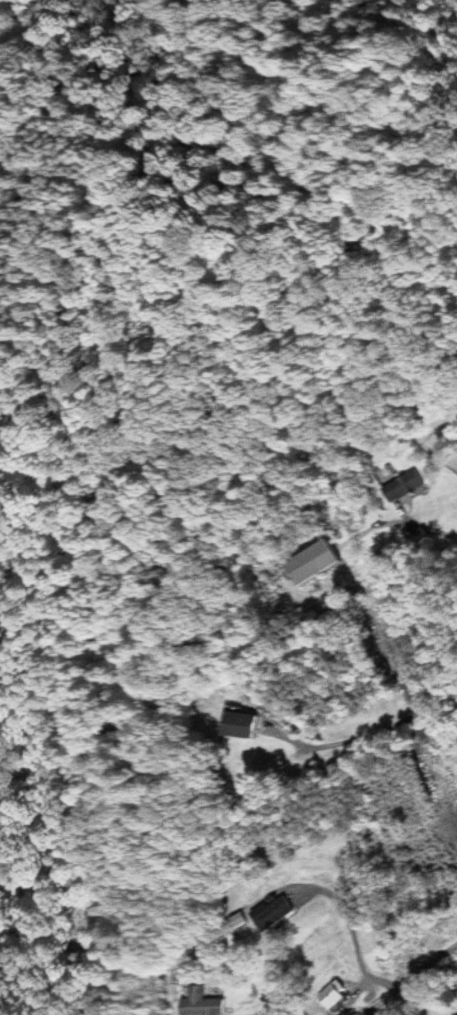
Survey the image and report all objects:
building: (406, 485)
building: (321, 562)
building: (246, 723)
building: (280, 912)
road: (435, 972)
building: (337, 994)
road: (390, 999)
building: (205, 1003)

